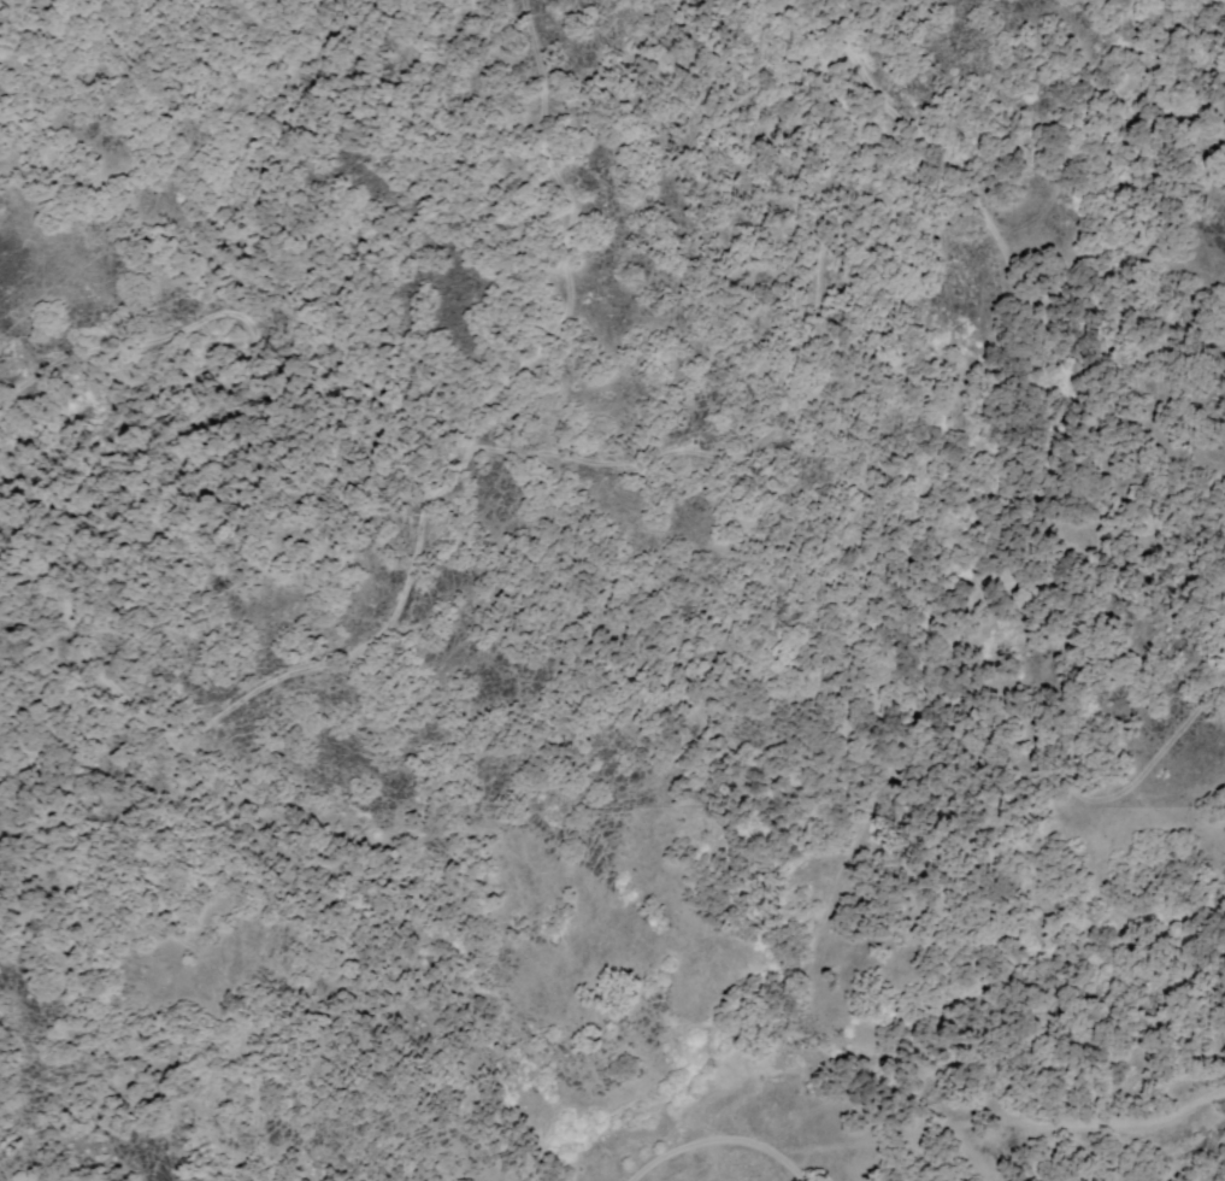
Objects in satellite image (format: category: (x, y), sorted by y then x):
road: (1060, 1116)

